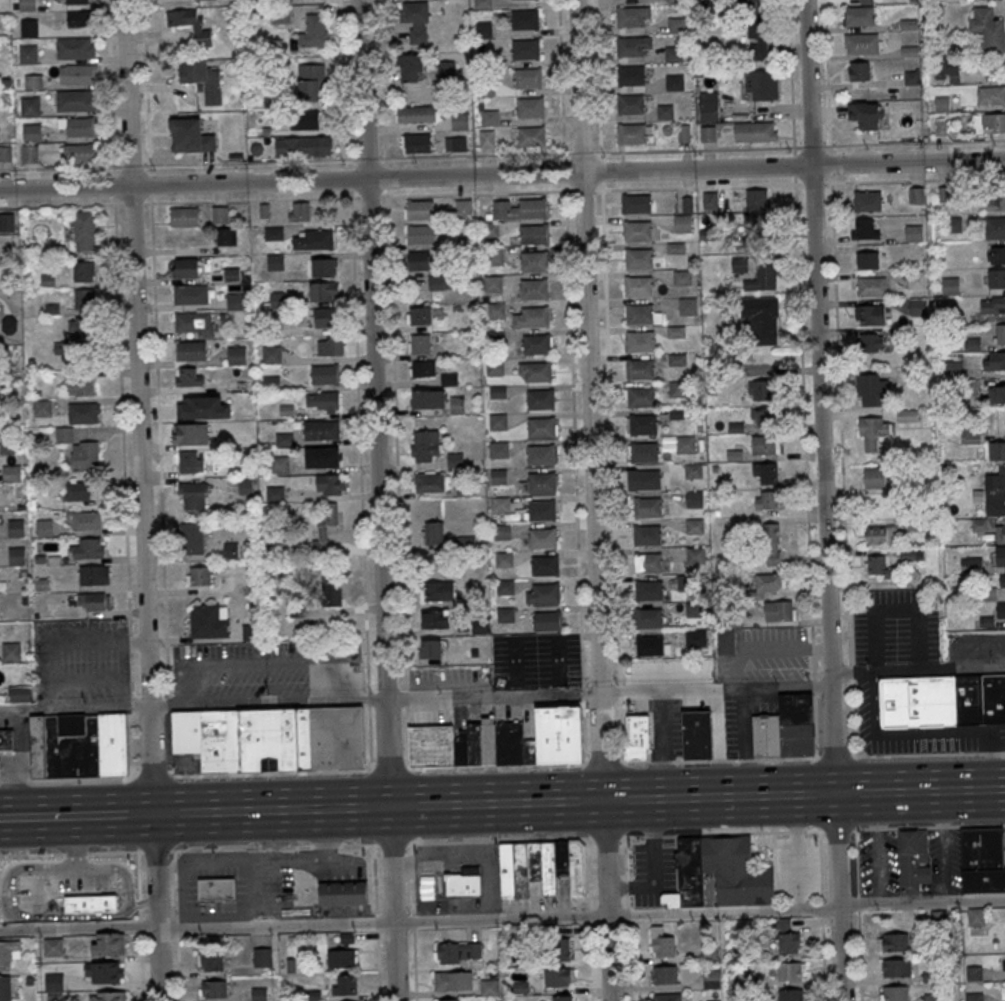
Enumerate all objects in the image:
building: (265, 0)
building: (675, 1)
building: (77, 2)
building: (483, 4)
building: (752, 4)
building: (28, 5)
building: (280, 16)
building: (630, 16)
building: (858, 16)
building: (78, 18)
building: (524, 19)
building: (415, 20)
building: (676, 25)
building: (197, 27)
building: (29, 28)
building: (988, 28)
building: (484, 30)
building: (758, 30)
building: (314, 31)
building: (861, 43)
building: (629, 46)
building: (525, 48)
building: (75, 49)
building: (760, 51)
building: (909, 51)
building: (28, 54)
building: (674, 54)
building: (408, 68)
building: (446, 68)
building: (858, 71)
road: (827, 72)
building: (952, 72)
building: (80, 74)
building: (631, 75)
building: (911, 77)
building: (202, 78)
building: (528, 78)
building: (33, 82)
building: (311, 82)
road: (383, 83)
building: (675, 83)
road: (346, 84)
building: (762, 85)
road: (562, 87)
building: (487, 89)
road: (792, 91)
building: (991, 96)
building: (70, 100)
building: (630, 104)
building: (30, 106)
building: (529, 107)
building: (708, 110)
building: (666, 113)
building: (416, 114)
building: (865, 115)
building: (491, 118)
building: (304, 119)
building: (460, 121)
building: (990, 123)
building: (77, 126)
building: (755, 131)
building: (32, 133)
building: (632, 133)
building: (707, 133)
building: (191, 136)
building: (531, 136)
building: (487, 139)
building: (418, 144)
building: (455, 144)
building: (303, 145)
road: (784, 147)
building: (5, 153)
building: (30, 153)
building: (78, 153)
road: (470, 156)
road: (367, 159)
road: (178, 165)
road: (502, 176)
road: (386, 177)
road: (350, 178)
road: (695, 186)
building: (916, 194)
road: (368, 196)
road: (383, 196)
building: (756, 198)
building: (709, 201)
building: (867, 201)
building: (995, 201)
road: (179, 202)
building: (636, 203)
building: (463, 207)
building: (421, 209)
building: (520, 209)
building: (299, 211)
building: (220, 214)
building: (184, 216)
building: (7, 222)
building: (684, 224)
building: (957, 224)
building: (864, 228)
building: (84, 230)
building: (490, 230)
building: (638, 230)
building: (762, 230)
building: (273, 233)
building: (914, 233)
building: (421, 234)
building: (534, 234)
building: (226, 236)
building: (312, 239)
building: (495, 257)
building: (640, 258)
building: (420, 260)
building: (534, 260)
building: (867, 260)
building: (275, 262)
building: (324, 267)
building: (186, 268)
building: (83, 271)
building: (683, 278)
building: (762, 278)
building: (996, 278)
building: (917, 279)
building: (440, 282)
building: (493, 284)
building: (639, 285)
building: (950, 285)
building: (871, 286)
building: (534, 289)
building: (325, 291)
building: (191, 295)
building: (84, 299)
building: (235, 300)
building: (993, 305)
building: (688, 307)
building: (918, 307)
building: (497, 312)
building: (638, 314)
building: (869, 314)
building: (419, 315)
building: (534, 317)
building: (322, 318)
building: (762, 319)
building: (195, 324)
building: (77, 326)
building: (676, 332)
building: (1000, 334)
building: (497, 339)
building: (639, 341)
building: (871, 342)
building: (420, 343)
building: (536, 343)
building: (331, 346)
building: (70, 348)
building: (192, 351)
road: (156, 352)
road: (119, 353)
building: (236, 354)
building: (271, 354)
building: (993, 360)
building: (953, 362)
building: (495, 367)
building: (422, 368)
building: (640, 368)
building: (537, 371)
building: (325, 375)
building: (188, 377)
road: (609, 380)
building: (271, 383)
building: (80, 387)
building: (679, 389)
building: (872, 390)
building: (761, 391)
building: (996, 394)
road: (819, 396)
building: (640, 397)
building: (428, 398)
building: (541, 399)
building: (324, 401)
road: (374, 403)
building: (457, 405)
road: (138, 407)
building: (42, 408)
building: (83, 414)
building: (766, 414)
building: (907, 415)
building: (498, 422)
building: (643, 424)
building: (542, 427)
building: (322, 431)
building: (872, 432)
building: (193, 433)
building: (970, 436)
road: (359, 439)
road: (395, 439)
building: (425, 445)
building: (686, 445)
building: (765, 445)
building: (997, 447)
road: (841, 449)
building: (499, 450)
building: (644, 452)
building: (541, 454)
building: (85, 456)
building: (327, 458)
building: (455, 460)
building: (191, 461)
building: (280, 465)
road: (575, 469)
road: (806, 470)
building: (694, 471)
building: (11, 473)
building: (765, 473)
building: (499, 477)
building: (874, 478)
building: (646, 479)
building: (429, 482)
building: (542, 482)
building: (331, 484)
building: (999, 485)
building: (246, 486)
building: (77, 491)
building: (275, 493)
building: (194, 495)
building: (766, 499)
road: (592, 500)
building: (696, 500)
building: (501, 505)
building: (647, 506)
building: (541, 510)
building: (84, 519)
building: (44, 527)
building: (696, 527)
building: (16, 528)
building: (325, 529)
building: (434, 533)
building: (502, 533)
building: (1000, 533)
building: (647, 535)
building: (881, 535)
building: (192, 538)
building: (542, 538)
building: (772, 544)
building: (87, 547)
building: (231, 551)
building: (16, 555)
building: (1000, 555)
building: (696, 556)
building: (504, 560)
building: (647, 562)
building: (972, 563)
building: (875, 564)
building: (545, 566)
building: (94, 575)
building: (198, 575)
building: (1002, 581)
building: (686, 582)
building: (767, 584)
building: (505, 587)
building: (648, 590)
building: (331, 591)
building: (437, 591)
building: (546, 593)
building: (94, 601)
building: (779, 610)
building: (1001, 611)
building: (506, 615)
building: (648, 618)
building: (434, 619)
building: (209, 620)
building: (547, 620)
building: (251, 632)
building: (696, 638)
building: (508, 642)
building: (726, 642)
building: (650, 645)
building: (432, 648)
building: (549, 648)
road: (768, 650)
building: (11, 651)
road: (916, 670)
building: (17, 693)
road: (368, 697)
road: (405, 697)
road: (414, 699)
building: (942, 700)
building: (785, 728)
building: (697, 735)
road: (406, 736)
building: (637, 736)
building: (272, 737)
road: (370, 738)
building: (6, 739)
road: (132, 742)
building: (77, 744)
building: (493, 746)
road: (707, 760)
building: (0, 768)
road: (388, 769)
road: (270, 773)
road: (152, 777)
road: (65, 779)
road: (565, 801)
road: (63, 816)
road: (587, 838)
road: (156, 851)
road: (797, 852)
road: (70, 853)
building: (913, 861)
building: (981, 861)
building: (540, 867)
building: (737, 871)
building: (464, 881)
building: (427, 887)
building: (215, 888)
building: (344, 893)
building: (29, 897)
road: (836, 897)
building: (90, 904)
road: (392, 904)
road: (155, 907)
road: (502, 920)
road: (412, 921)
road: (376, 922)
road: (139, 925)
road: (177, 925)
building: (785, 939)
building: (893, 941)
building: (108, 943)
building: (661, 943)
building: (53, 946)
building: (560, 949)
building: (9, 952)
building: (458, 953)
building: (262, 957)
building: (342, 958)
building: (210, 960)
building: (1002, 964)
building: (896, 968)
building: (790, 971)
building: (104, 972)
building: (664, 975)
building: (558, 976)
building: (712, 979)
building: (54, 981)
building: (453, 981)
building: (344, 984)
building: (489, 987)
building: (5, 988)
building: (214, 988)
building: (893, 993)
building: (791, 995)
building: (108, 996)
building: (667, 997)
building: (54, 998)
building: (562, 998)
building: (452, 1000)

